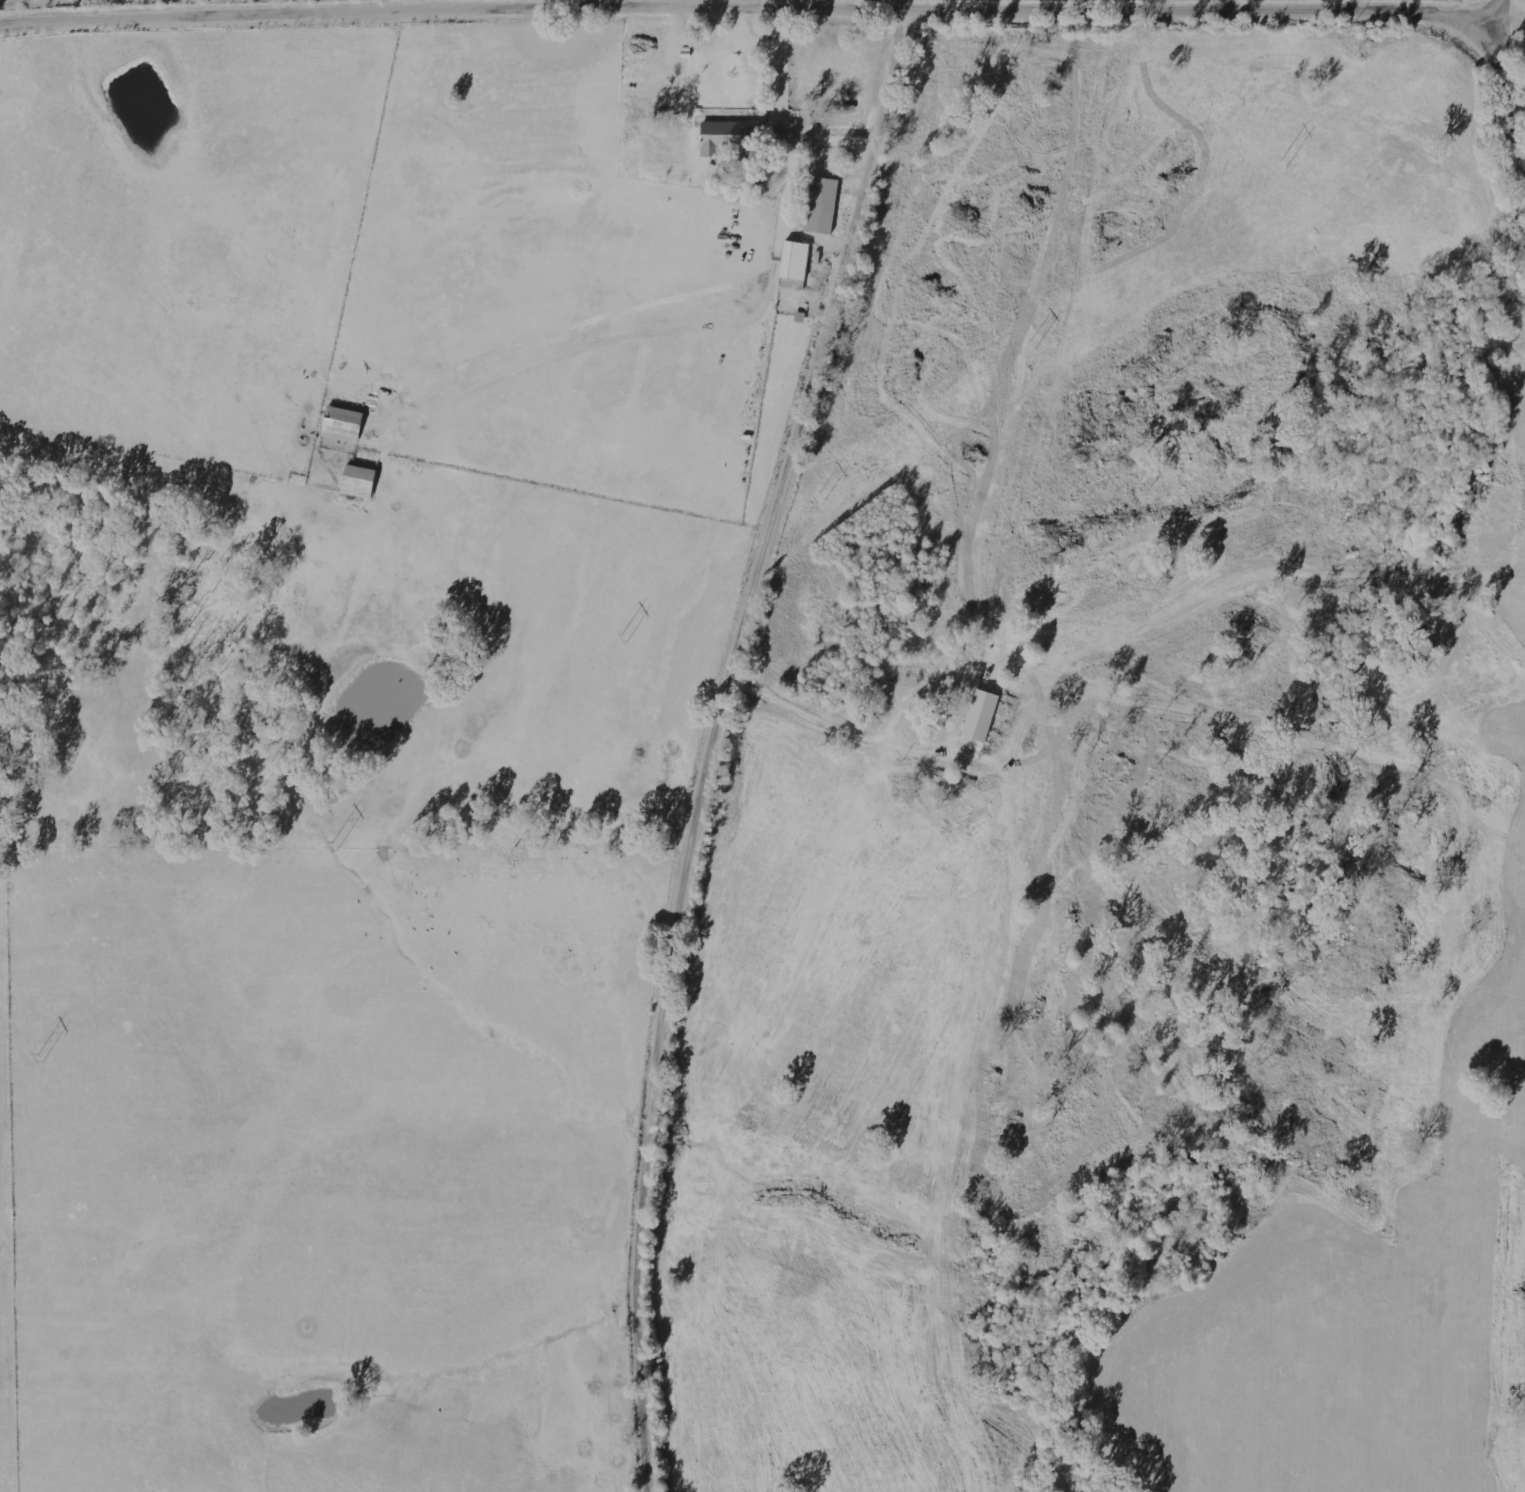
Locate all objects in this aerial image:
road: (550, 6)
road: (816, 11)
road: (1511, 51)
building: (724, 137)
building: (821, 205)
building: (794, 260)
building: (792, 283)
building: (342, 425)
building: (357, 481)
building: (980, 715)
road: (718, 743)

